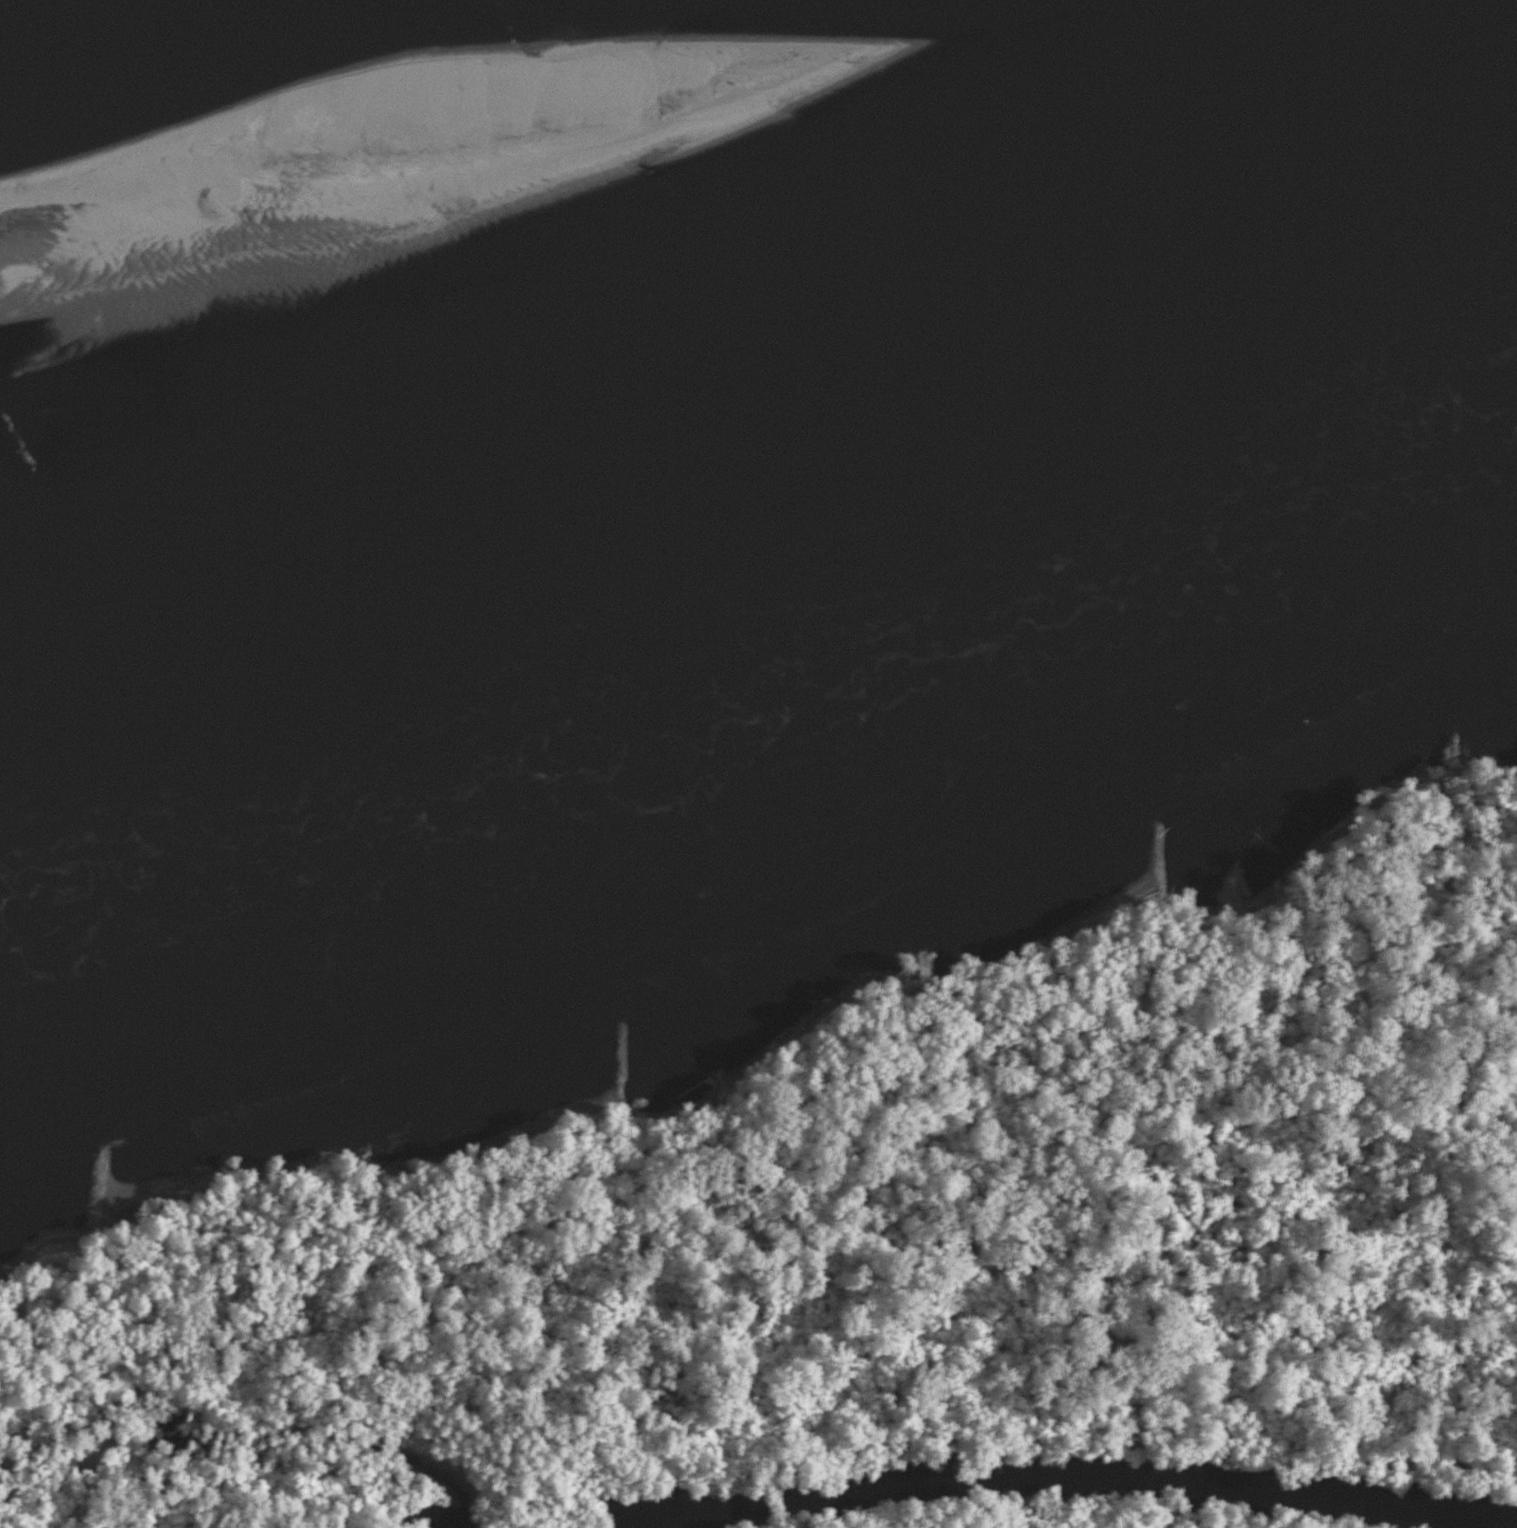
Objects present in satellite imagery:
river: (788, 585)

